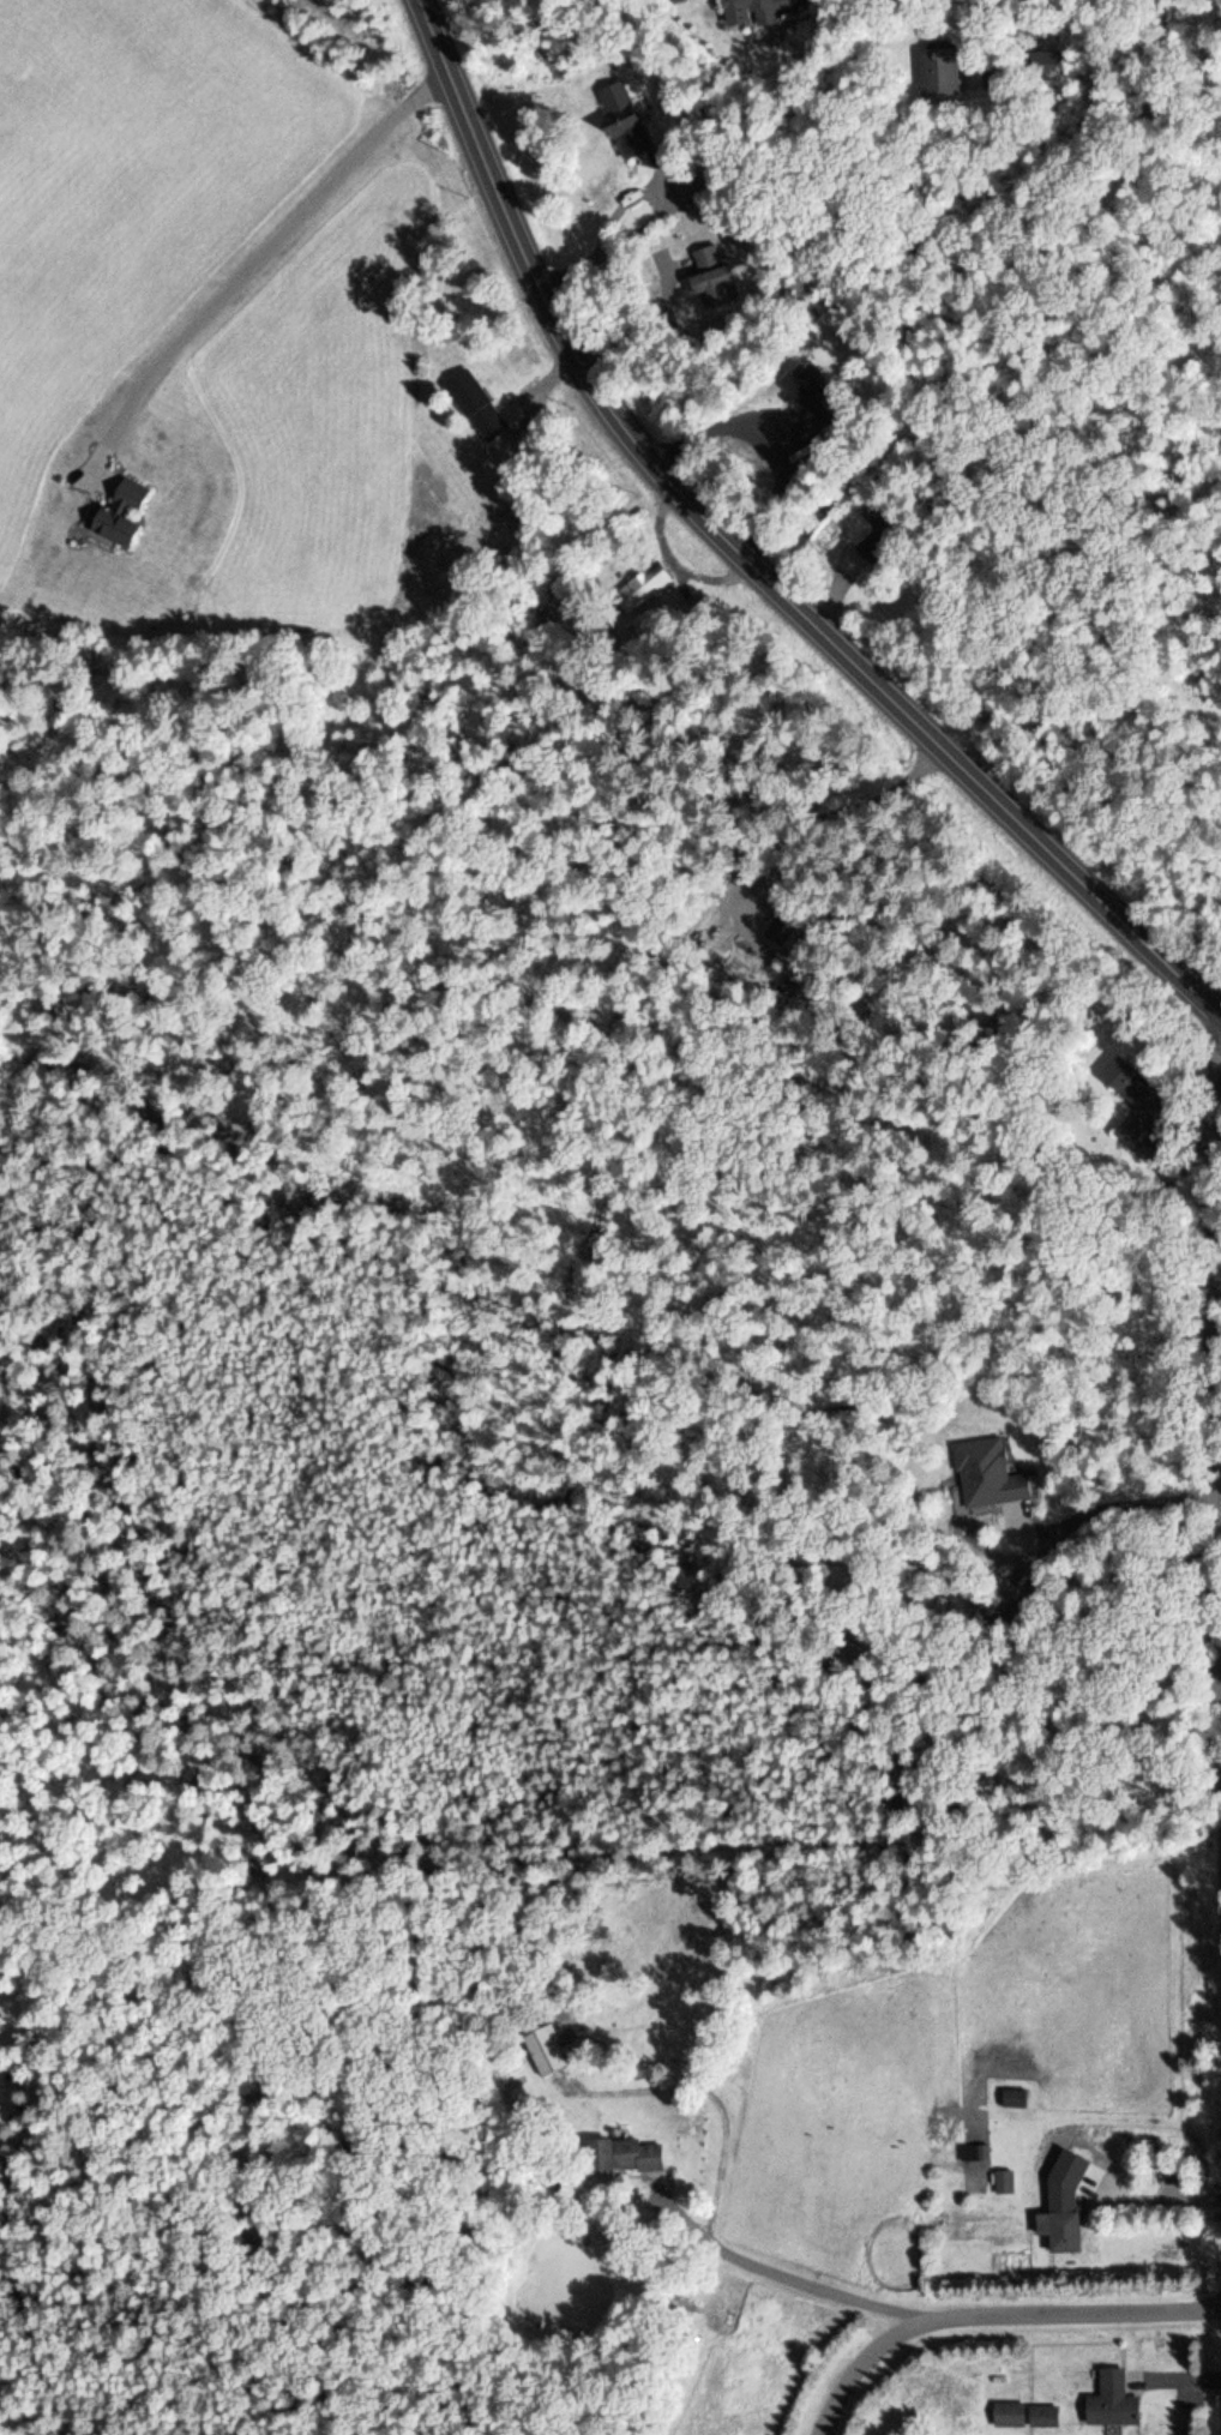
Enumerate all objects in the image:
building: (758, 8)
building: (945, 74)
building: (620, 116)
building: (687, 185)
building: (704, 254)
building: (709, 283)
building: (806, 391)
building: (474, 403)
building: (876, 510)
building: (119, 511)
road: (745, 564)
building: (638, 587)
building: (787, 927)
building: (1133, 1106)
road: (1219, 1243)
building: (985, 1472)
building: (543, 2049)
building: (976, 2152)
building: (621, 2156)
building: (1002, 2182)
building: (1055, 2218)
road: (993, 2319)
building: (1111, 2400)
building: (1006, 2412)
building: (1041, 2415)

